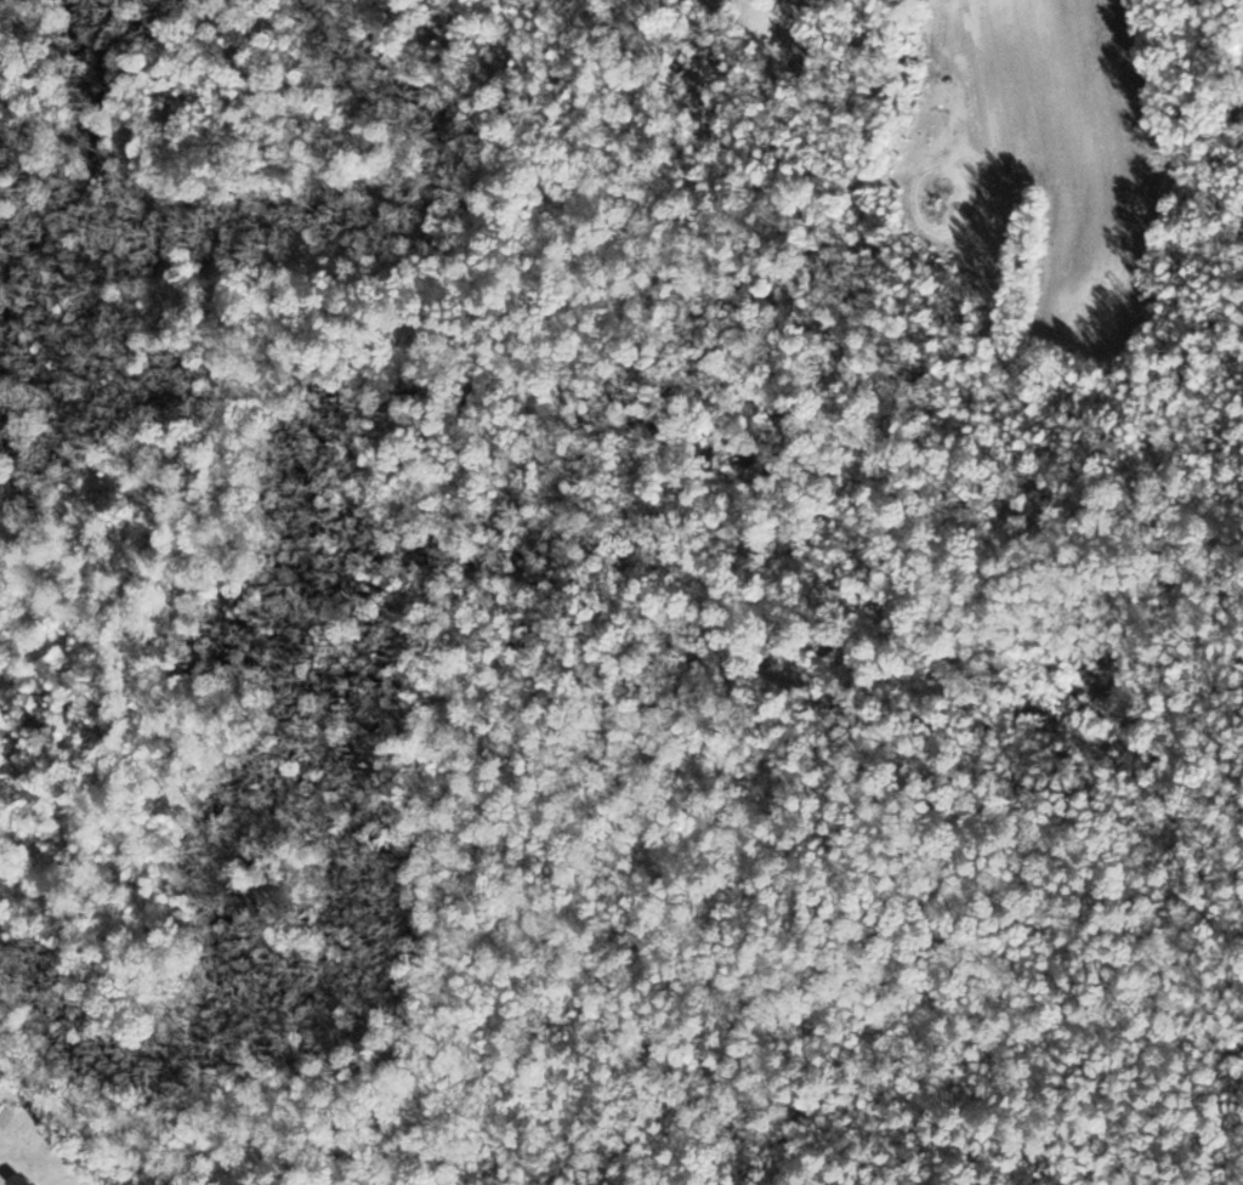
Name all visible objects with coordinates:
building: (22, 1180)

